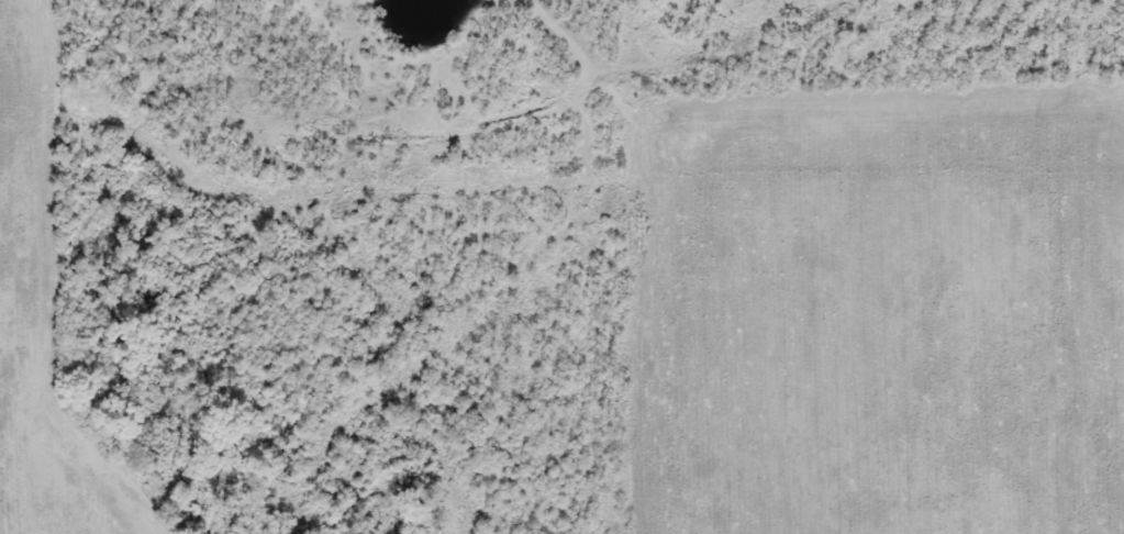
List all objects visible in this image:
road: (554, 24)

